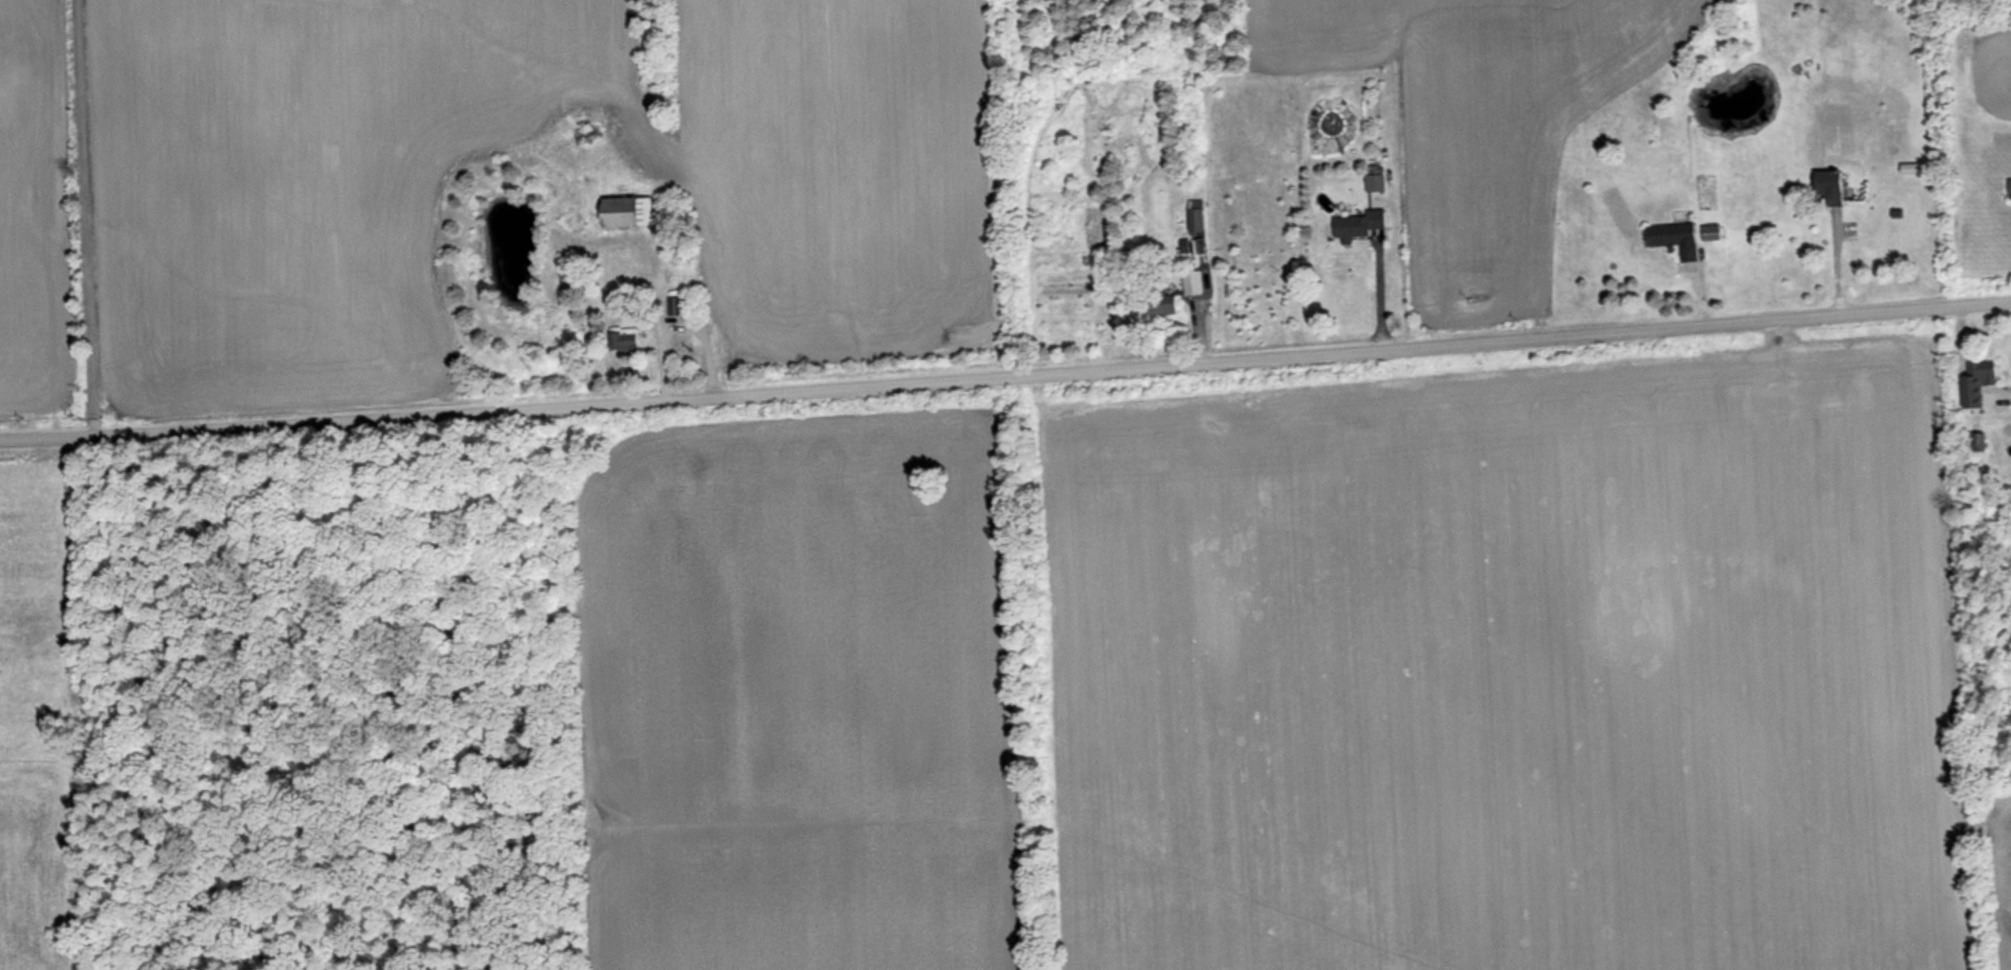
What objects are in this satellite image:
building: (1374, 182)
building: (1829, 186)
building: (2009, 187)
building: (628, 212)
road: (96, 215)
building: (1196, 218)
building: (1359, 224)
building: (1710, 231)
building: (1673, 237)
building: (1193, 281)
building: (1162, 302)
building: (676, 305)
building: (624, 339)
road: (1005, 369)
building: (1978, 379)
road: (2002, 396)
building: (1979, 439)

